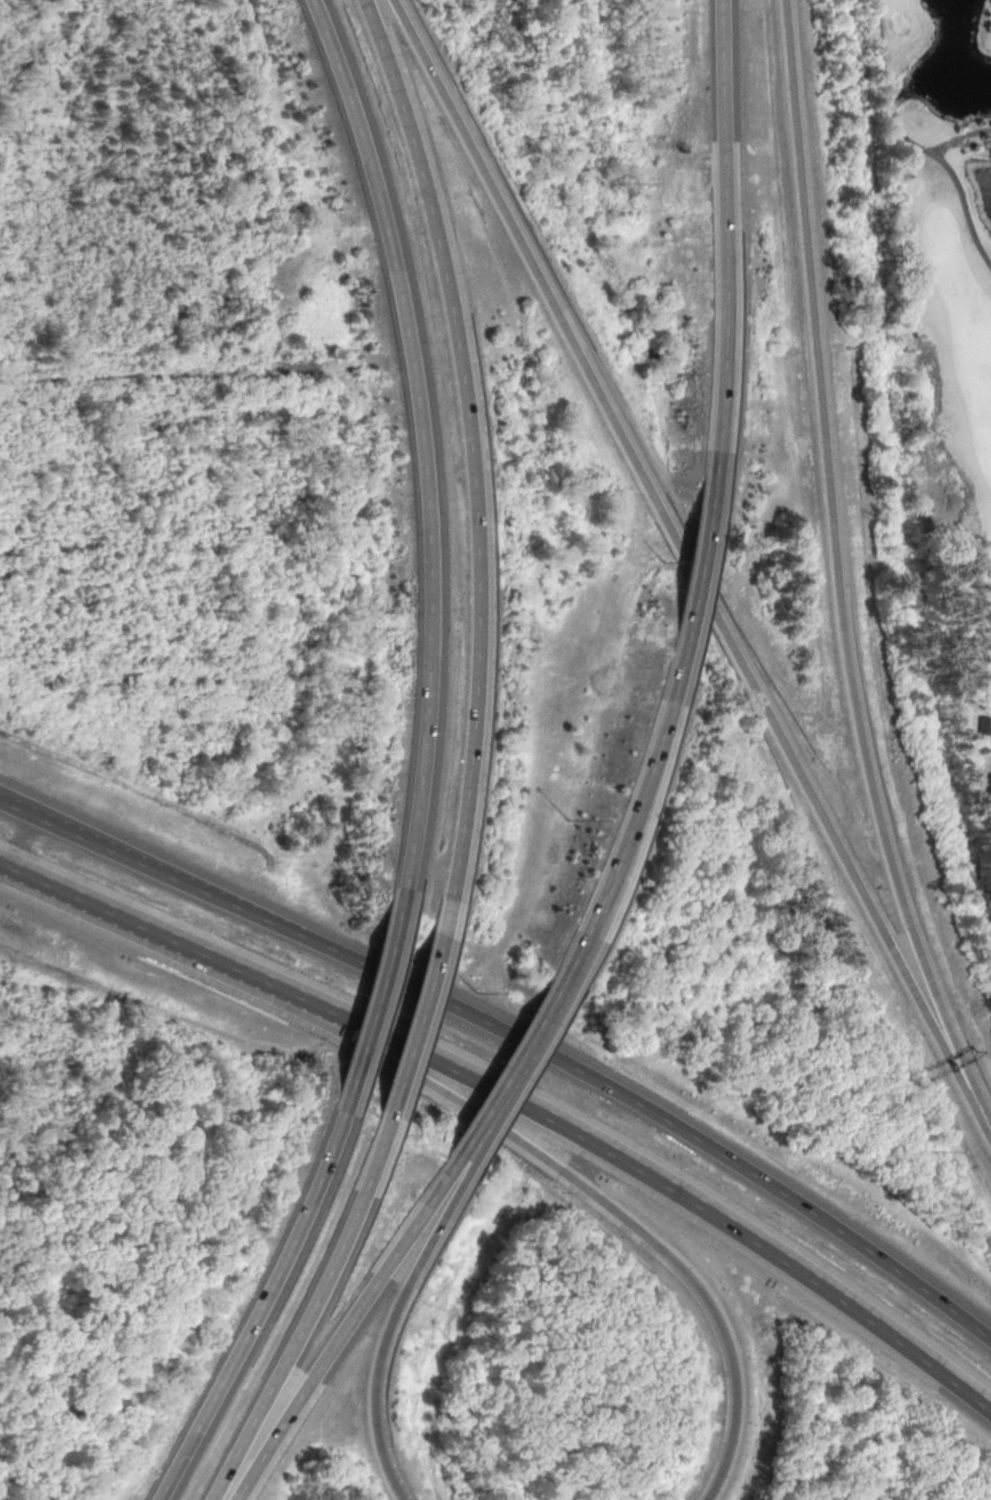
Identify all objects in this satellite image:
road: (968, 136)
road: (911, 144)
road: (969, 146)
road: (940, 150)
road: (720, 259)
park: (943, 360)
road: (416, 463)
road: (464, 471)
road: (690, 563)
road: (836, 565)
road: (692, 575)
building: (981, 726)
building: (988, 791)
road: (15, 806)
road: (629, 817)
road: (17, 839)
road: (62, 893)
road: (544, 1009)
road: (368, 1014)
road: (410, 1034)
road: (526, 1046)
road: (514, 1063)
road: (473, 1126)
road: (484, 1132)
road: (575, 1135)
road: (522, 1145)
road: (255, 1297)
road: (302, 1310)
road: (382, 1323)
road: (339, 1324)

